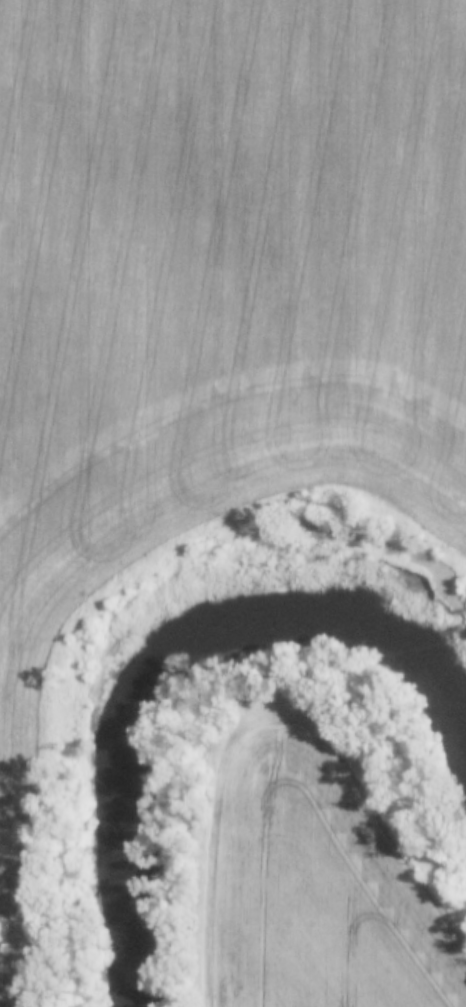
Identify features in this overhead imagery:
river: (181, 658)

